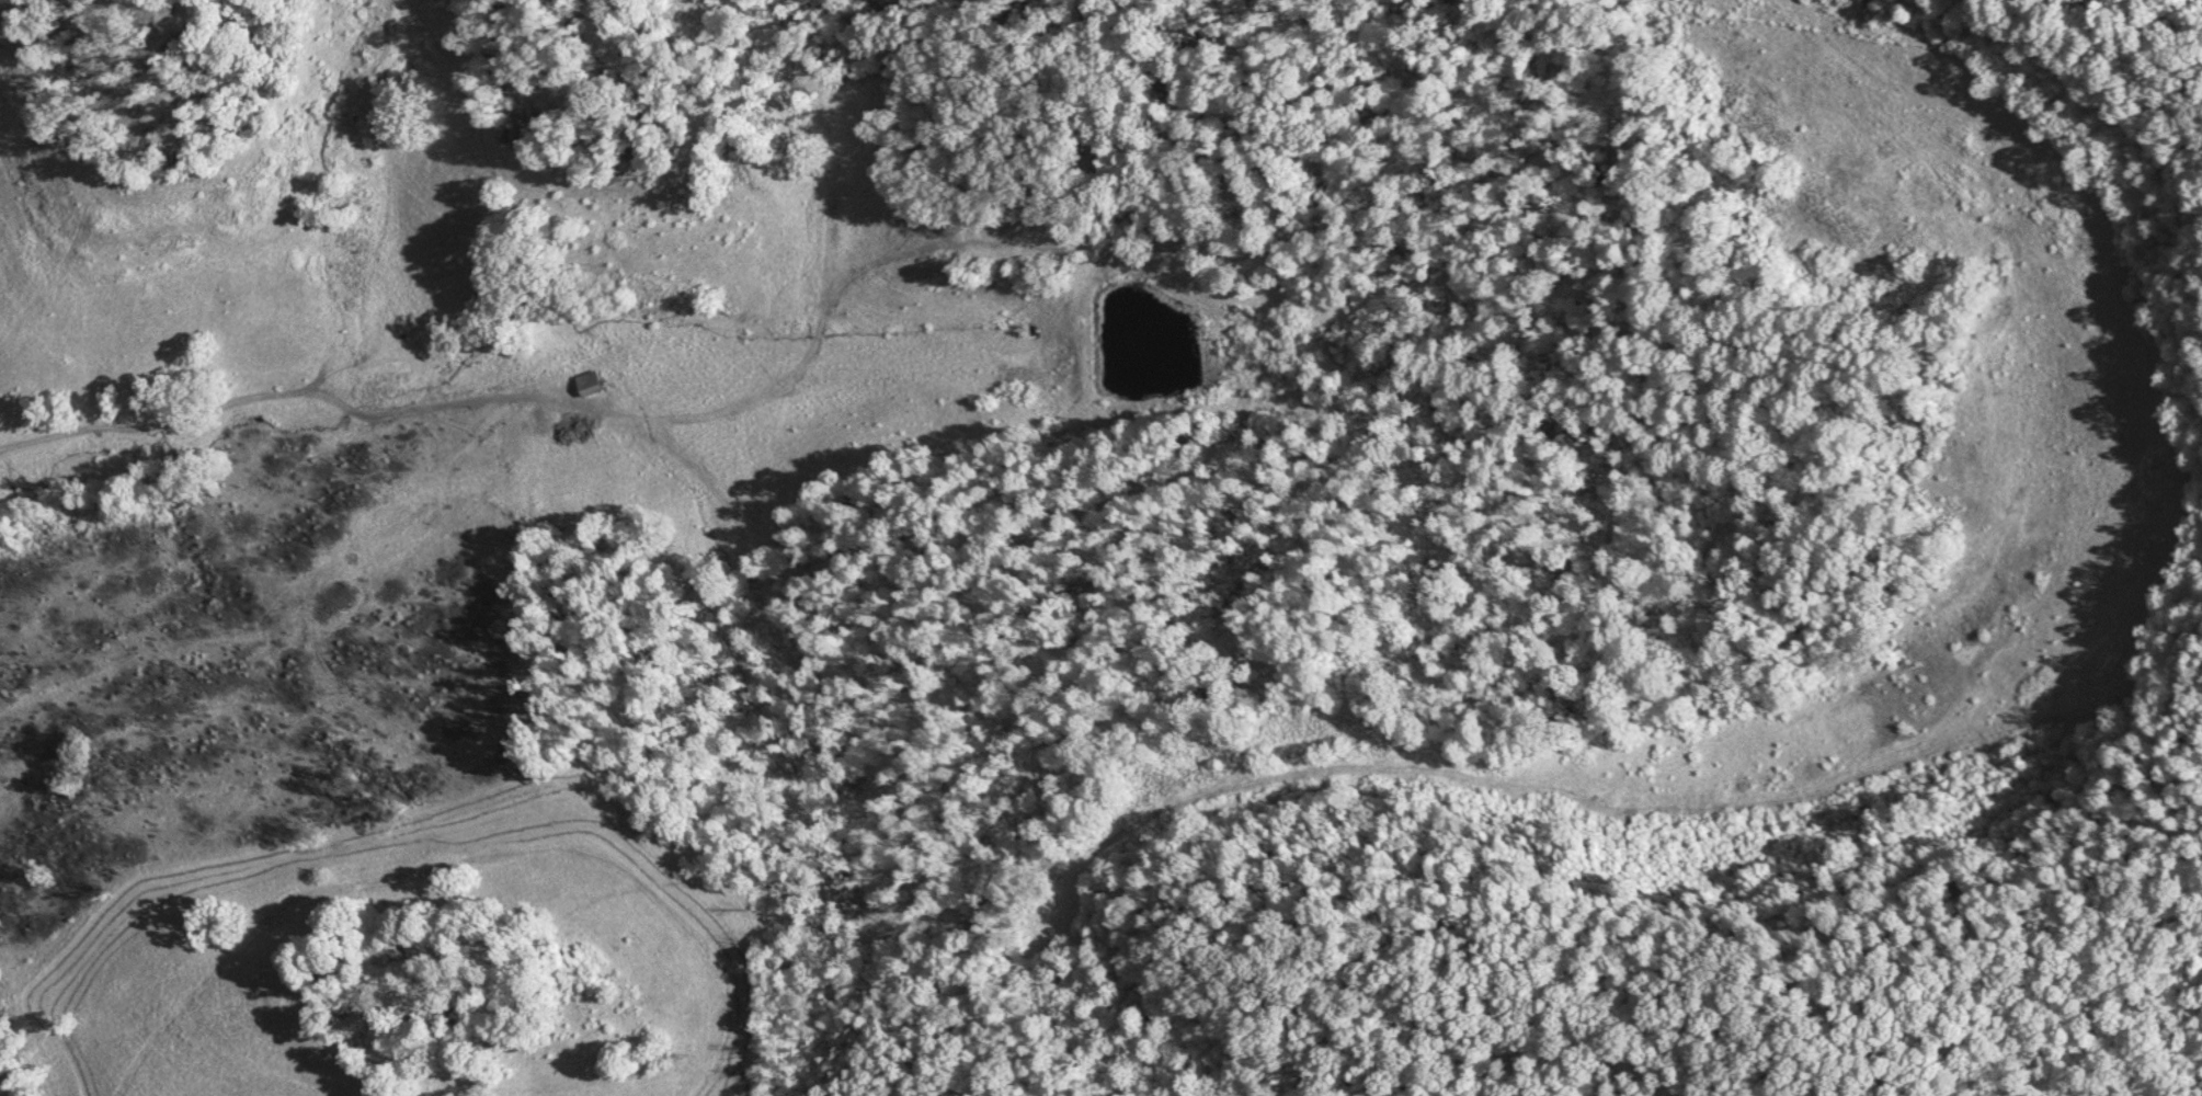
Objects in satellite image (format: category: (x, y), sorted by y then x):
building: (587, 381)

